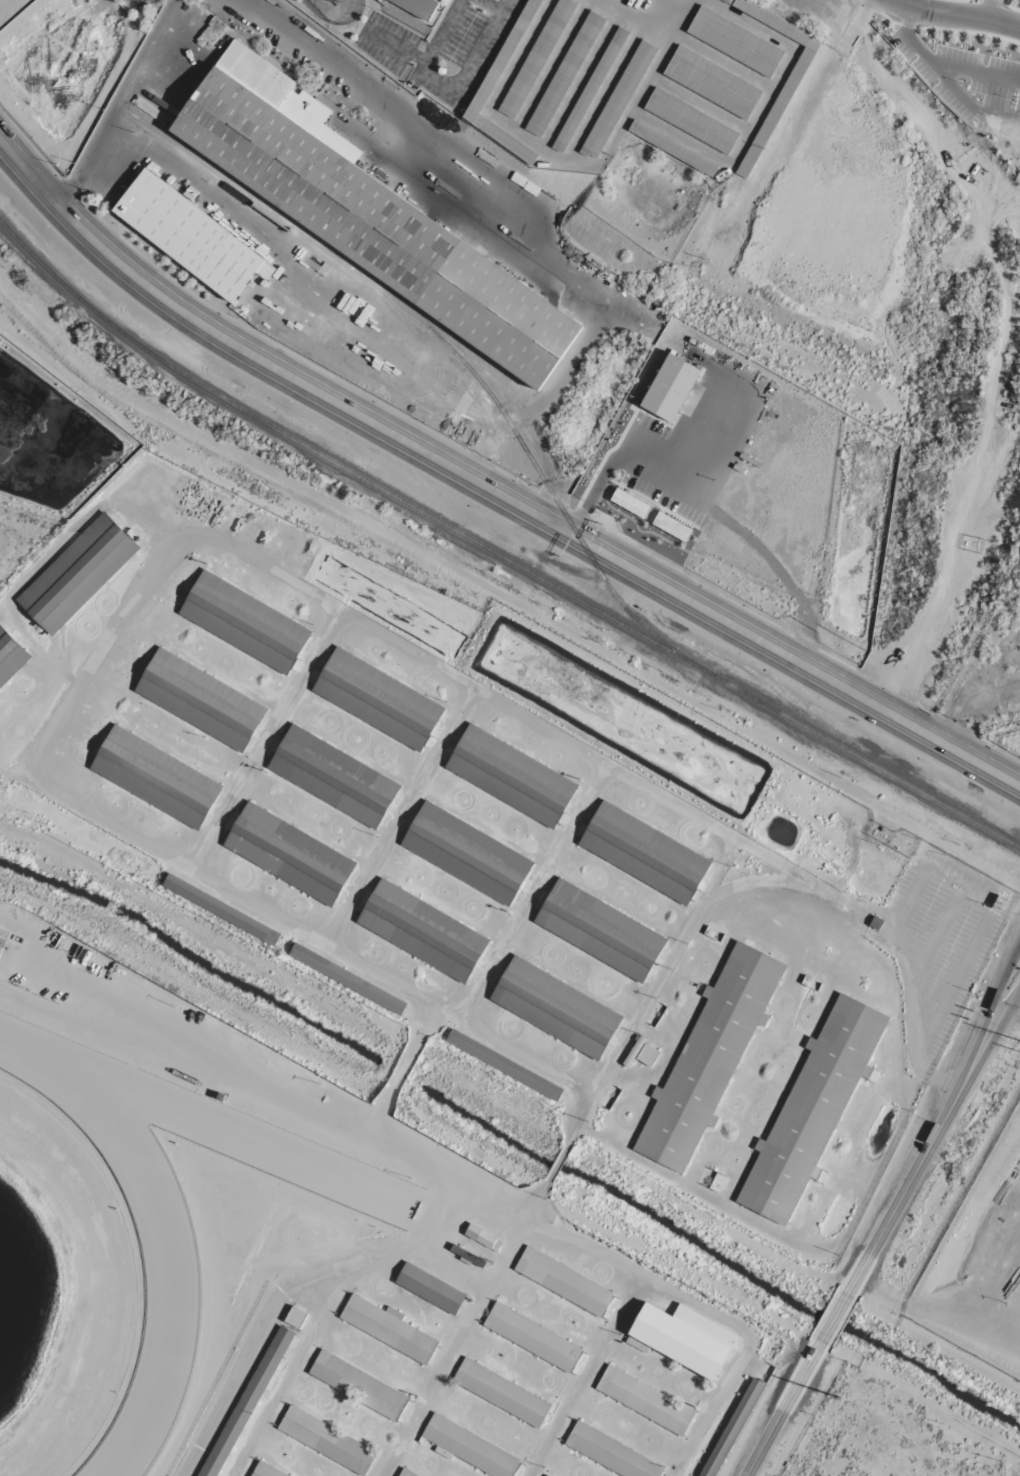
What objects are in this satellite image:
road: (678, 4)
road: (490, 5)
building: (418, 7)
road: (989, 9)
road: (957, 15)
road: (630, 21)
park: (340, 24)
building: (734, 41)
road: (395, 46)
building: (536, 58)
road: (722, 61)
road: (550, 65)
building: (564, 74)
road: (576, 81)
road: (644, 83)
building: (712, 83)
building: (589, 90)
road: (600, 92)
road: (443, 93)
building: (618, 100)
road: (113, 101)
road: (699, 103)
building: (776, 109)
road: (487, 111)
road: (758, 113)
building: (691, 121)
road: (401, 143)
building: (166, 217)
building: (373, 218)
railway: (284, 219)
railway: (452, 352)
building: (670, 387)
road: (490, 489)
building: (630, 503)
building: (671, 527)
railway: (496, 555)
building: (76, 574)
road: (129, 603)
road: (510, 615)
building: (243, 622)
building: (10, 656)
building: (200, 699)
building: (377, 699)
road: (266, 739)
building: (333, 776)
building: (510, 776)
building: (154, 777)
road: (400, 816)
building: (466, 853)
building: (643, 853)
building: (289, 854)
road: (762, 879)
road: (532, 890)
road: (872, 905)
building: (221, 909)
road: (988, 911)
building: (876, 923)
building: (599, 930)
road: (870, 930)
building: (422, 931)
road: (937, 932)
parking lot: (945, 932)
road: (900, 934)
building: (0, 947)
building: (346, 978)
road: (649, 991)
building: (555, 1008)
road: (911, 1031)
building: (643, 1052)
building: (708, 1057)
building: (503, 1064)
building: (811, 1109)
road: (931, 1137)
road: (557, 1163)
road: (878, 1164)
track: (172, 1206)
road: (539, 1225)
building: (483, 1238)
power plant: (981, 1265)
road: (267, 1272)
building: (564, 1280)
building: (430, 1288)
building: (295, 1317)
road: (833, 1318)
road: (465, 1328)
building: (388, 1329)
building: (532, 1337)
building: (685, 1337)
road: (743, 1351)
road: (290, 1364)
building: (357, 1385)
building: (501, 1392)
power tower: (838, 1396)
building: (644, 1399)
building: (247, 1402)
road: (784, 1406)
building: (732, 1427)
building: (327, 1440)
building: (469, 1447)
building: (609, 1453)
building: (267, 1470)
building: (406, 1473)

